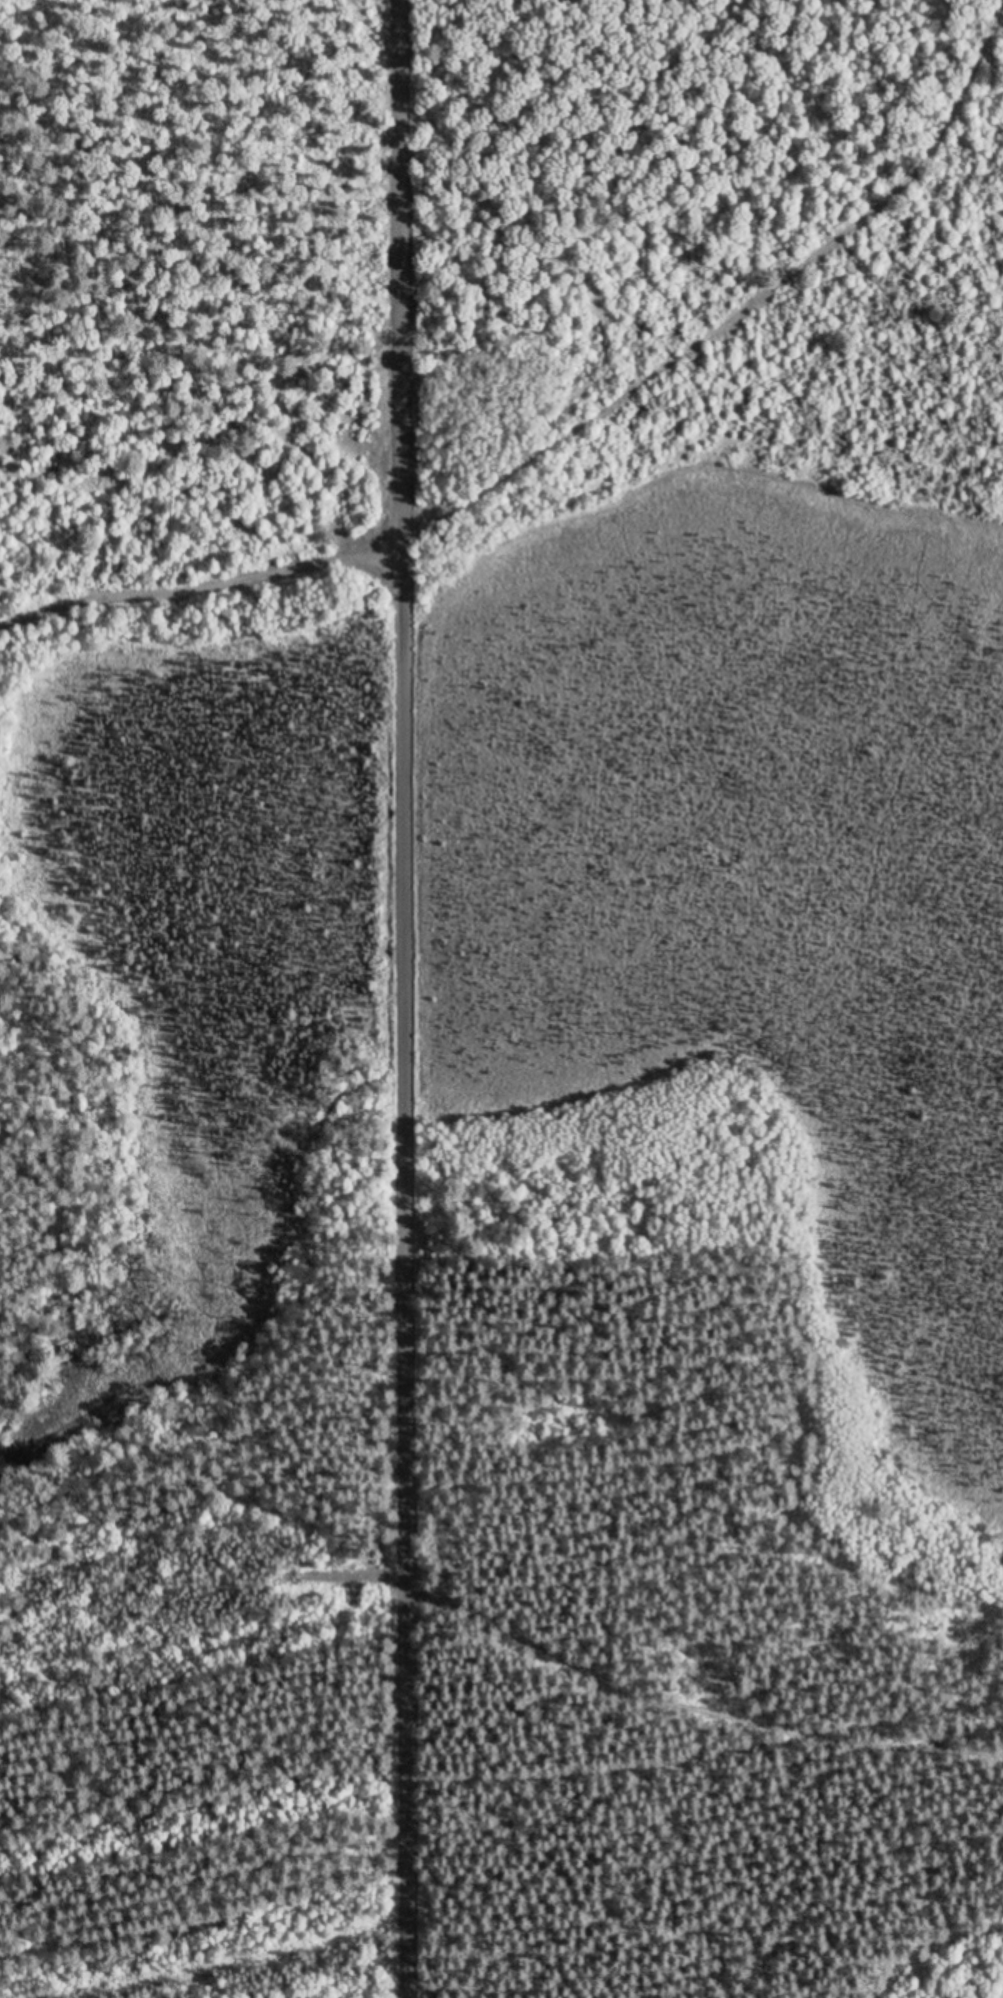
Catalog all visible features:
road: (574, 427)
road: (404, 998)

